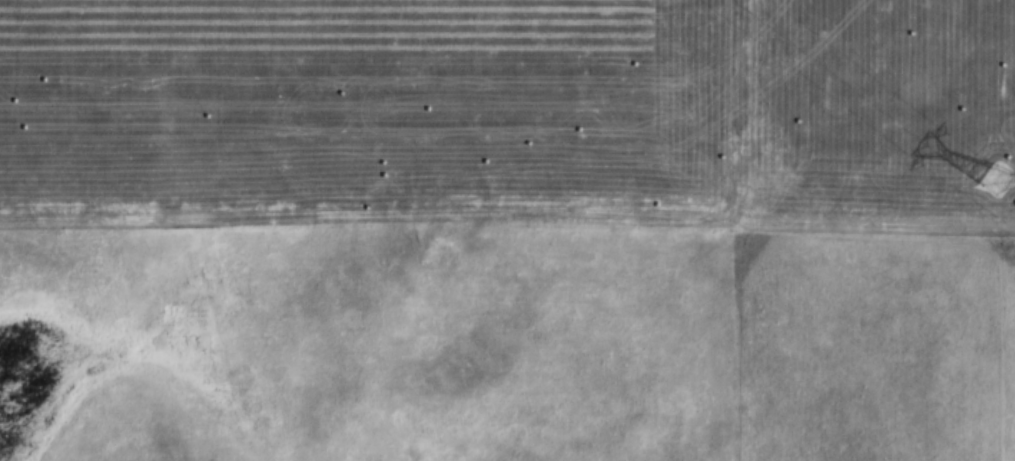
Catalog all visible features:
power tower: (992, 179)

